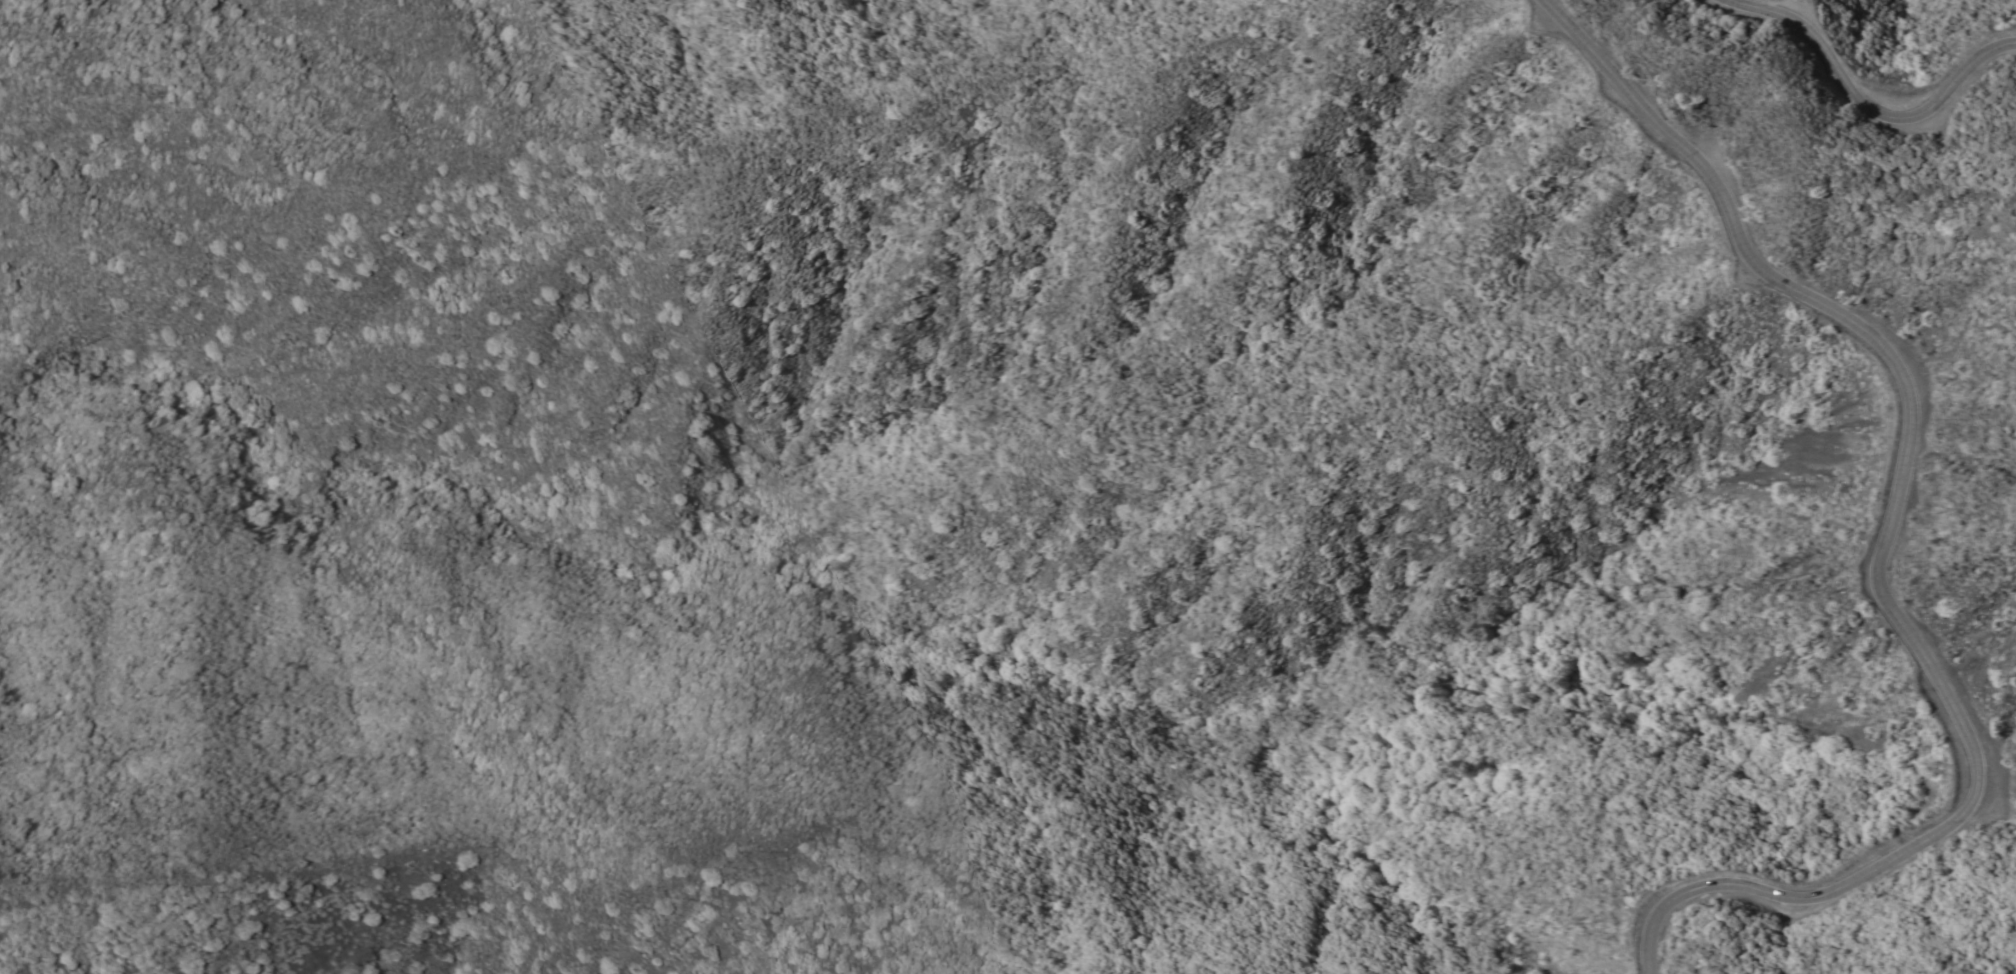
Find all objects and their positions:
road: (1867, 105)
road: (1884, 542)

